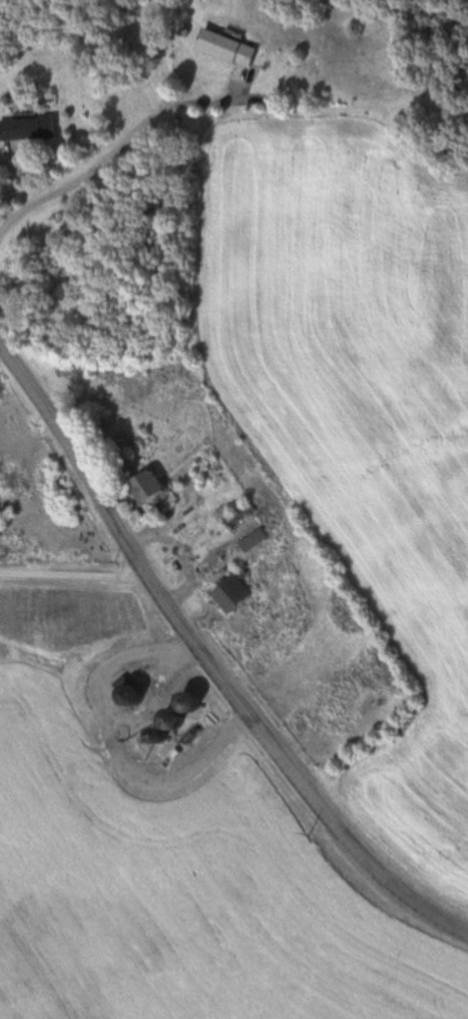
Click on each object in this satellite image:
building: (224, 48)
building: (26, 128)
road: (117, 149)
building: (143, 485)
building: (238, 514)
building: (251, 540)
road: (72, 573)
building: (228, 590)
road: (207, 662)
building: (121, 692)
building: (179, 701)
building: (157, 724)
road: (113, 743)

